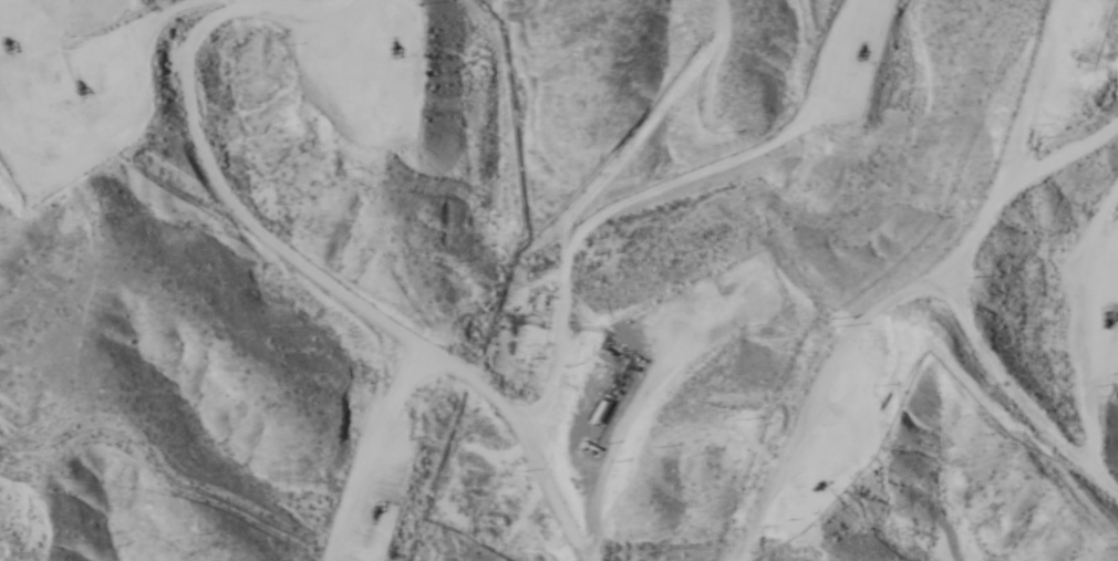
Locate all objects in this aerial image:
road: (277, 331)
road: (904, 346)
road: (4, 487)

